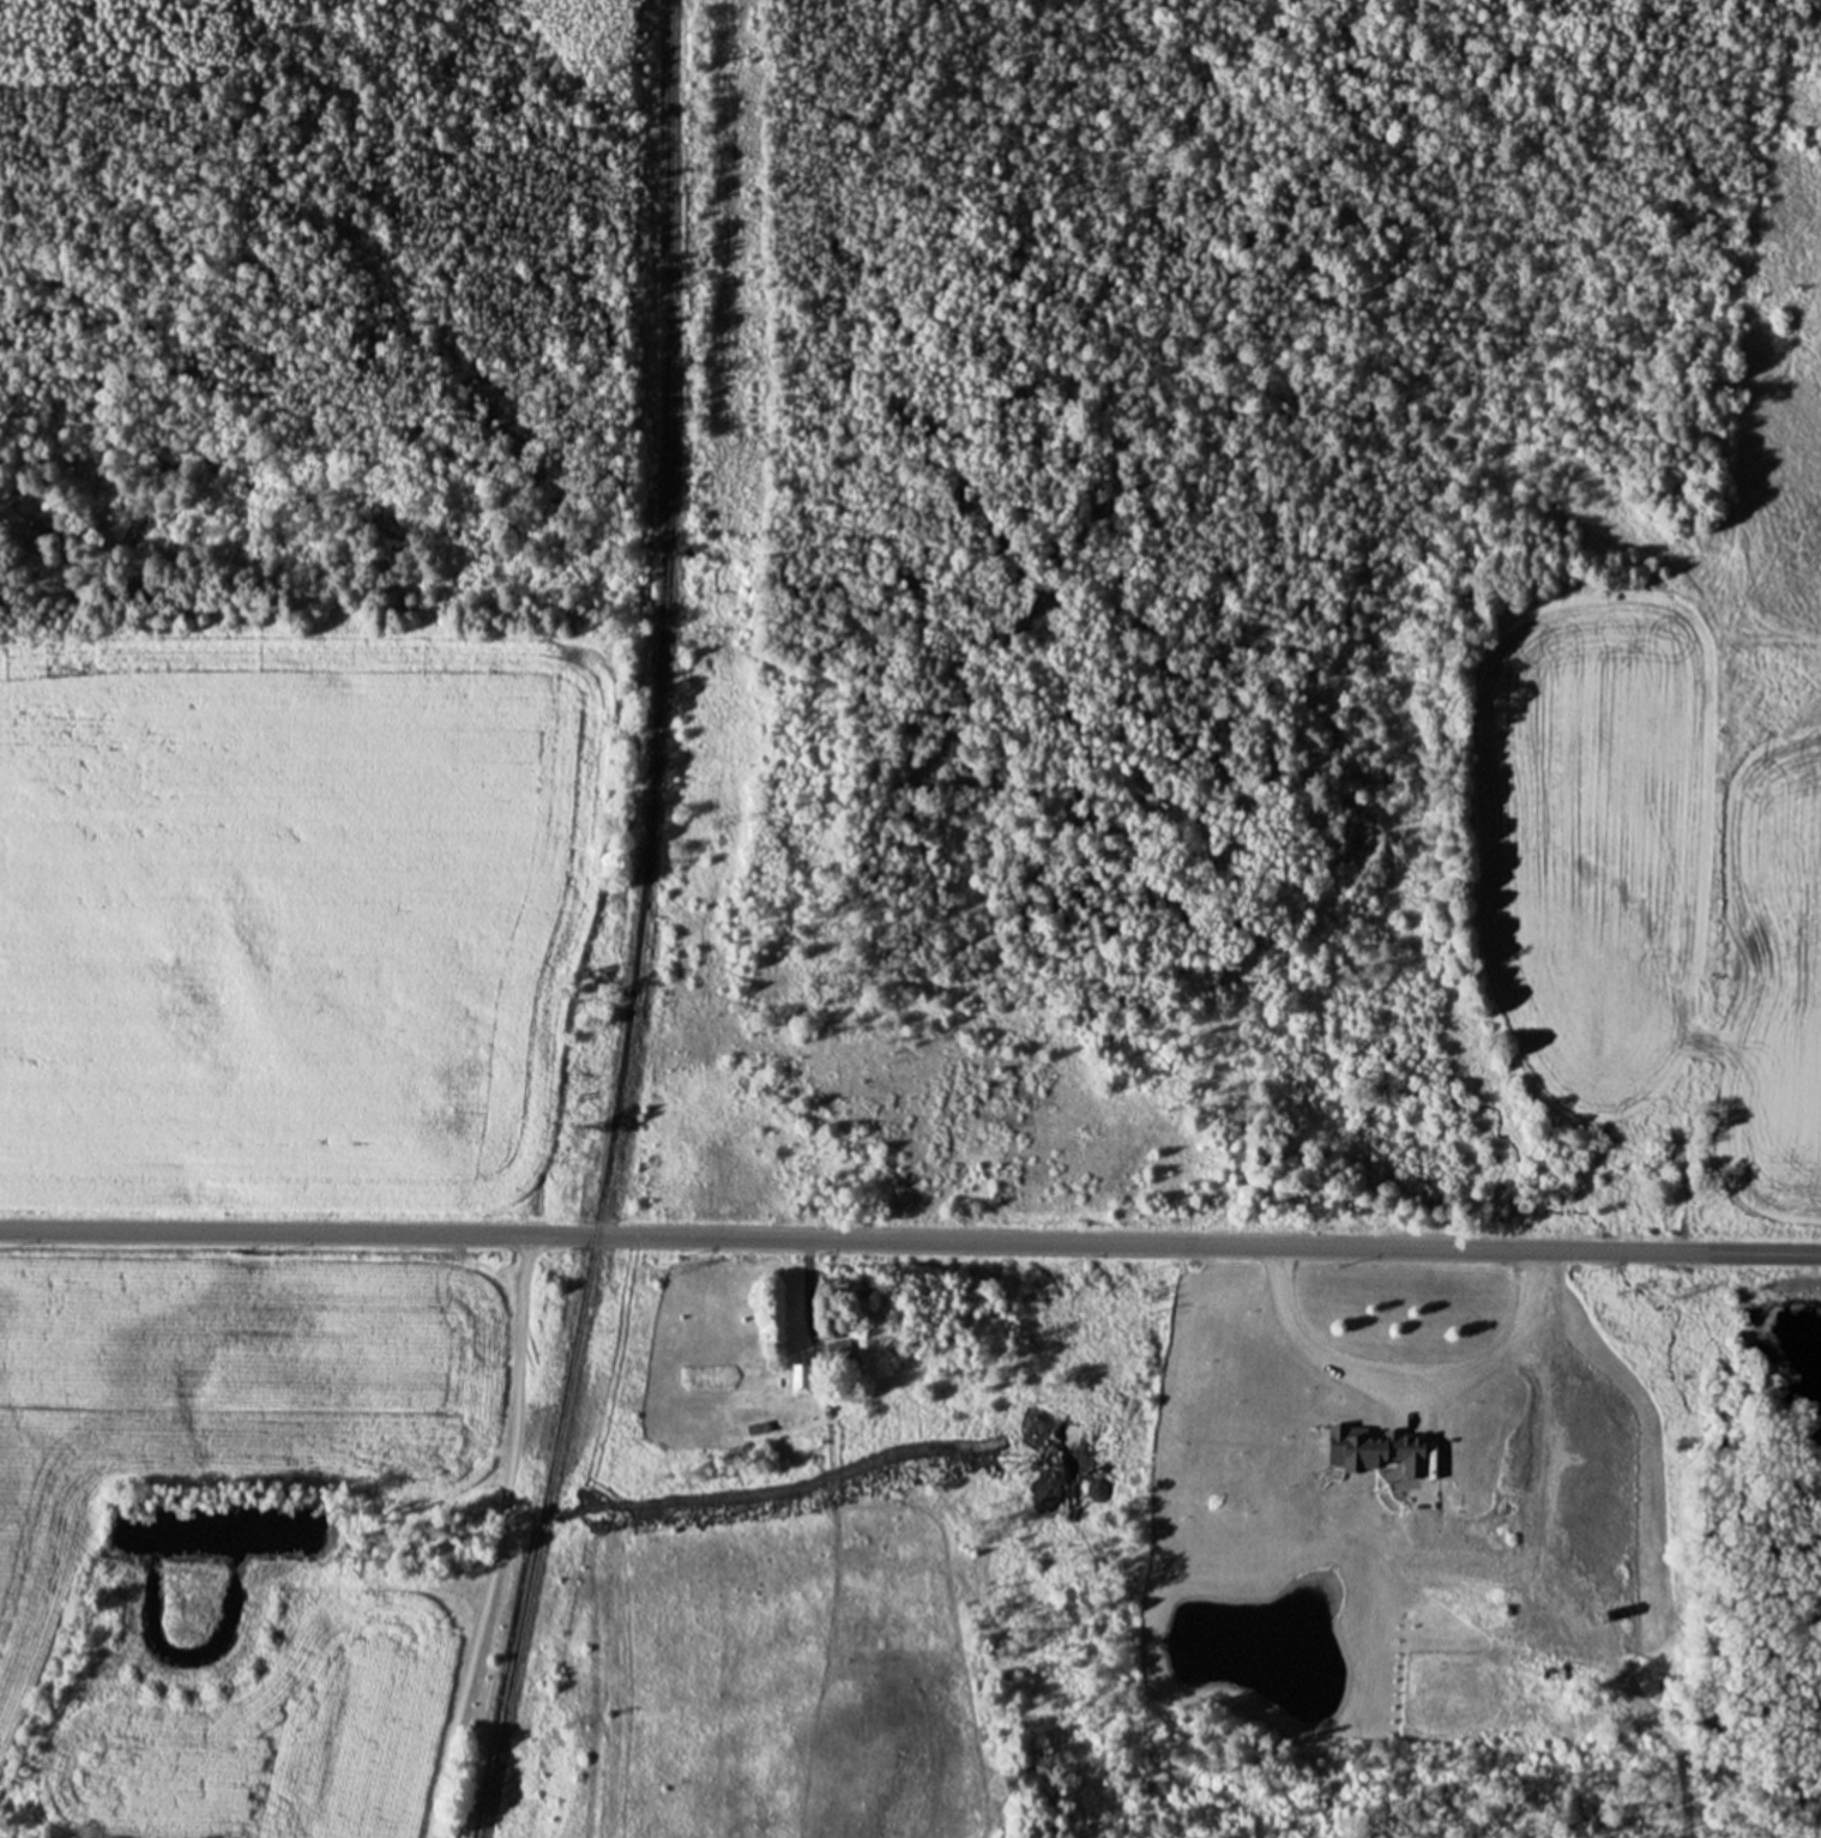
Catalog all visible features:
power tower: (734, 366)
power tower: (716, 821)
railway: (640, 926)
road: (910, 1239)
power tower: (651, 1277)
building: (832, 1337)
road: (1536, 1370)
building: (798, 1378)
road: (496, 1538)
building: (1528, 1547)
building: (1640, 1579)
building: (1531, 1608)
building: (1610, 1633)
power tower: (567, 1722)

